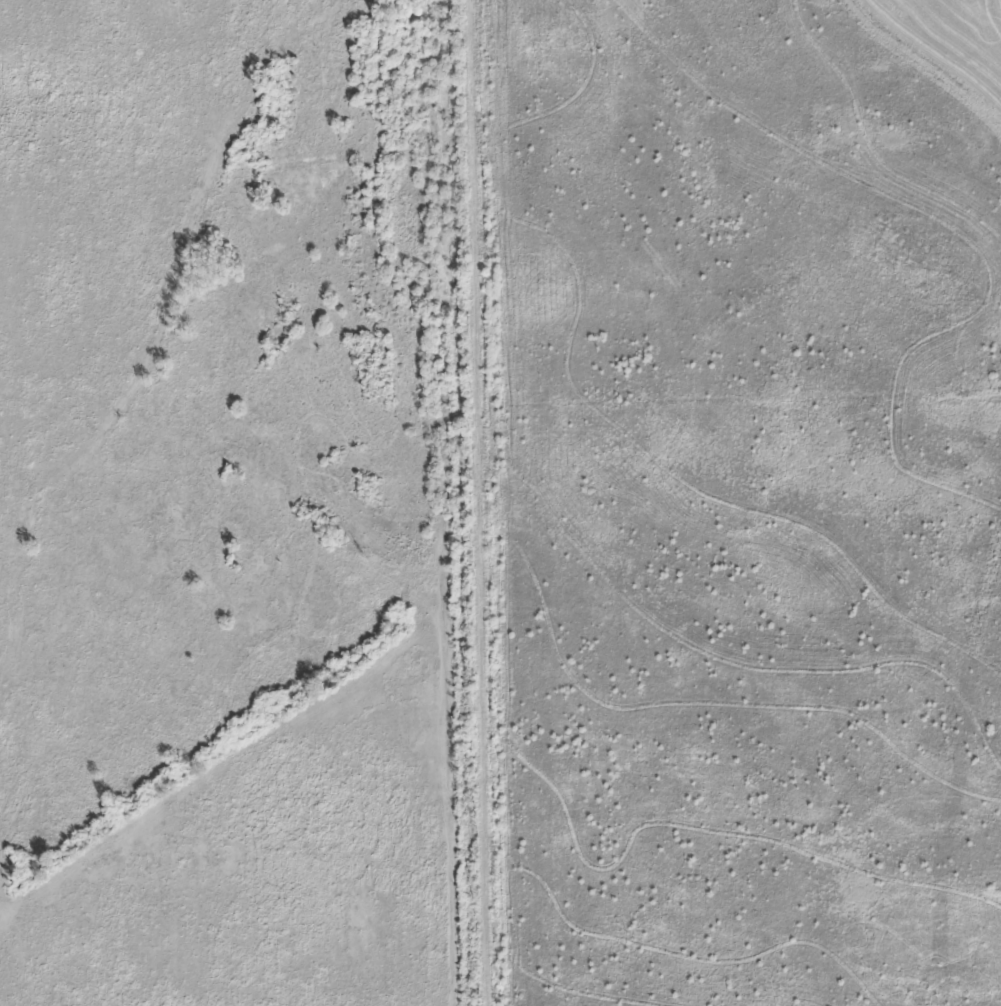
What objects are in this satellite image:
road: (482, 503)

